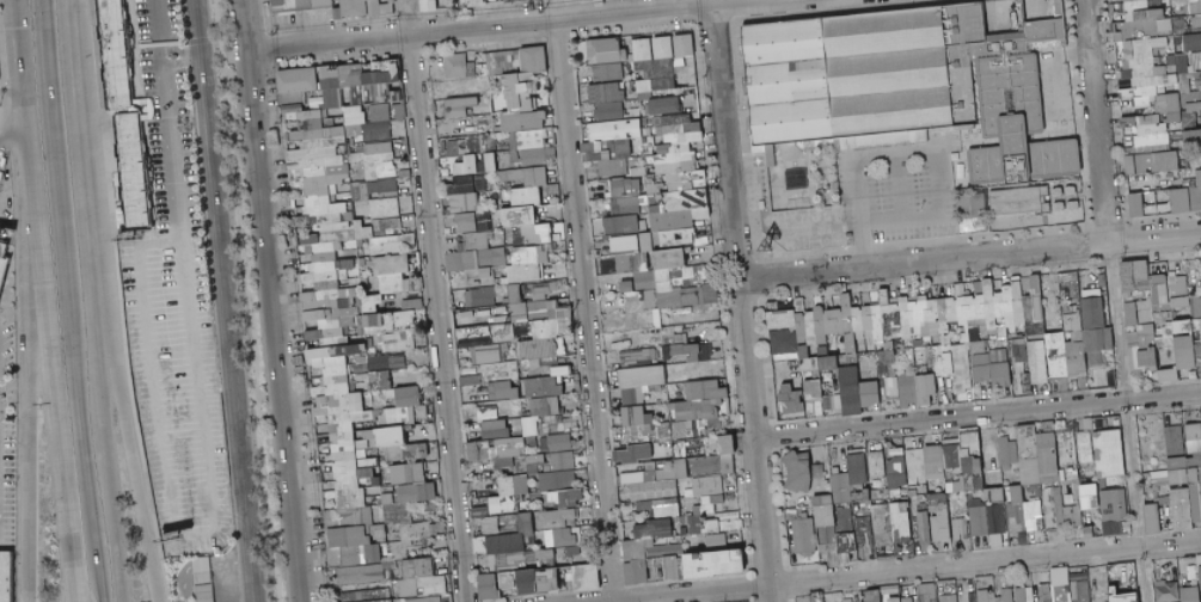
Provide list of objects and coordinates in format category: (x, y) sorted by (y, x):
building: (511, 0)
road: (711, 1)
building: (300, 4)
building: (1157, 4)
building: (427, 5)
building: (1193, 6)
building: (360, 7)
building: (1056, 8)
road: (405, 17)
building: (599, 50)
building: (658, 60)
building: (1158, 62)
building: (456, 66)
building: (606, 72)
building: (902, 87)
building: (605, 92)
building: (520, 98)
building: (662, 105)
building: (455, 106)
building: (607, 110)
building: (124, 112)
road: (1096, 121)
building: (1142, 130)
building: (1191, 137)
building: (609, 143)
building: (468, 147)
building: (1148, 161)
building: (676, 171)
building: (336, 172)
building: (527, 176)
building: (466, 183)
building: (373, 189)
building: (654, 190)
building: (623, 193)
building: (382, 214)
building: (527, 219)
building: (472, 221)
building: (619, 223)
building: (381, 239)
road: (180, 260)
road: (215, 300)
road: (228, 300)
road: (247, 300)
road: (71, 301)
road: (266, 301)

